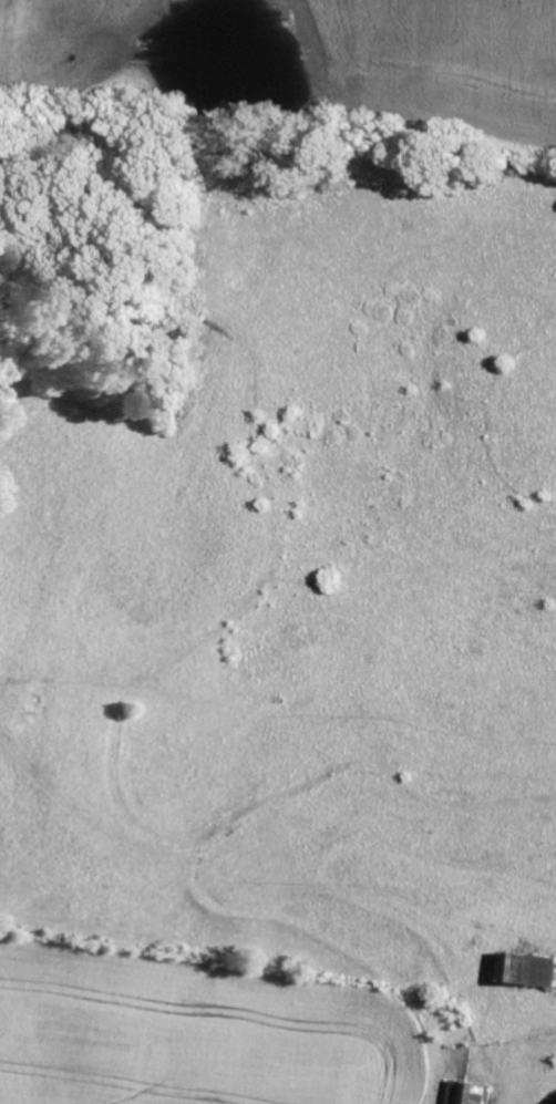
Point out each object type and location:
building: (528, 971)
building: (467, 1094)

